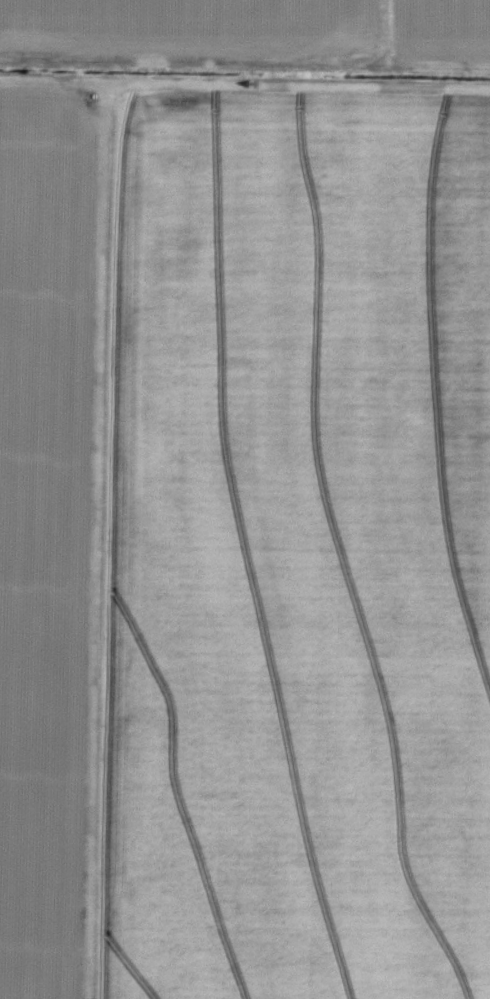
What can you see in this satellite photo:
road: (324, 92)

